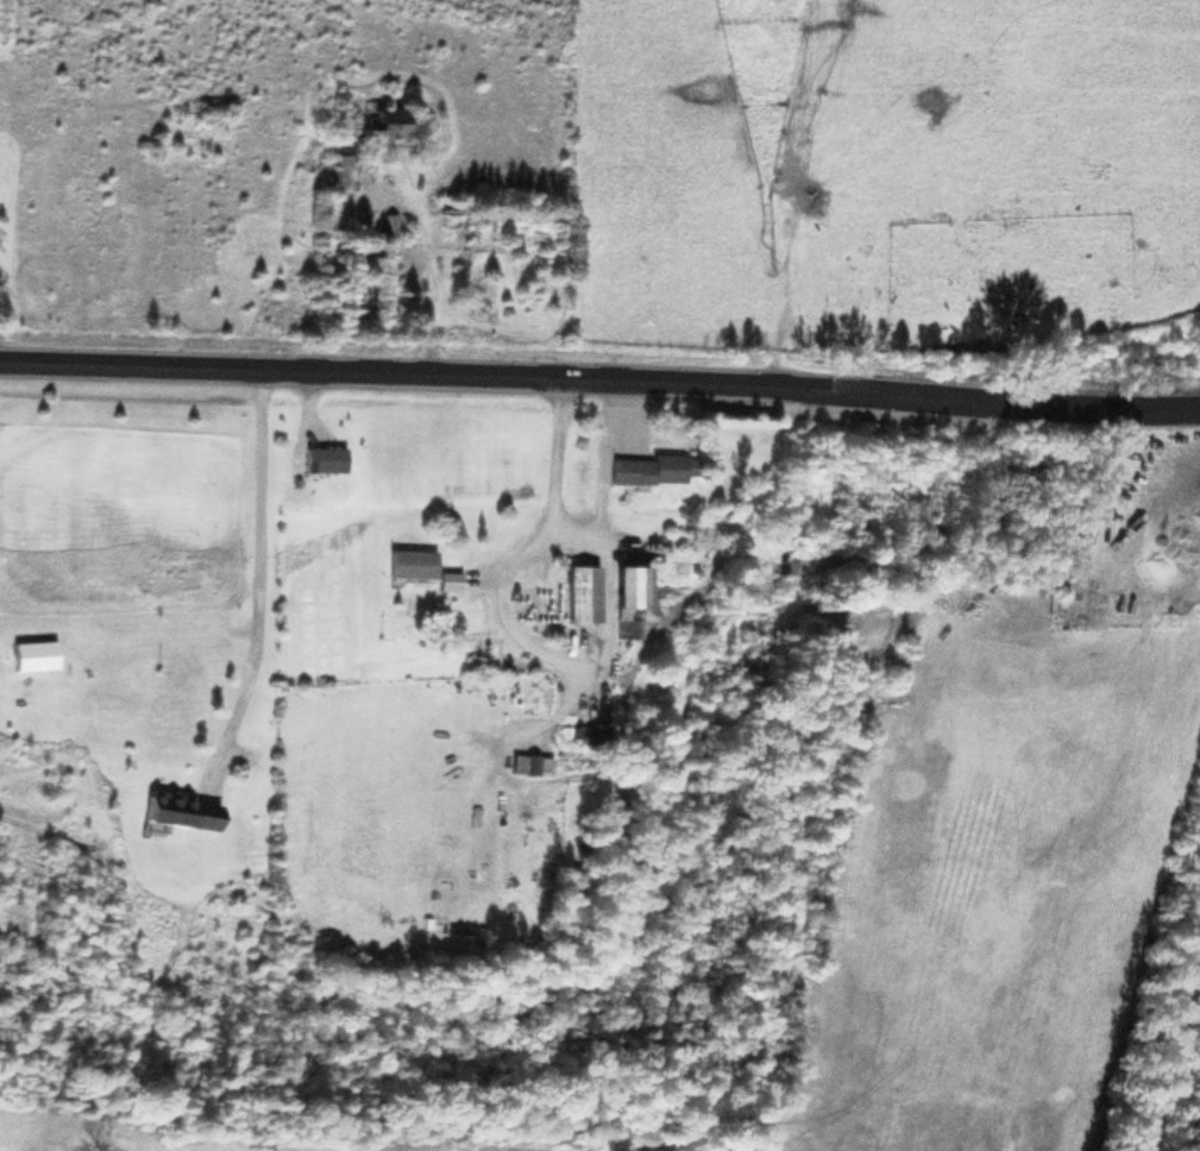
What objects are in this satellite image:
building: (371, 119)
building: (341, 166)
road: (599, 375)
building: (319, 457)
building: (646, 467)
building: (407, 561)
building: (445, 579)
building: (627, 584)
building: (579, 591)
building: (30, 654)
building: (178, 809)
road: (1170, 1032)

